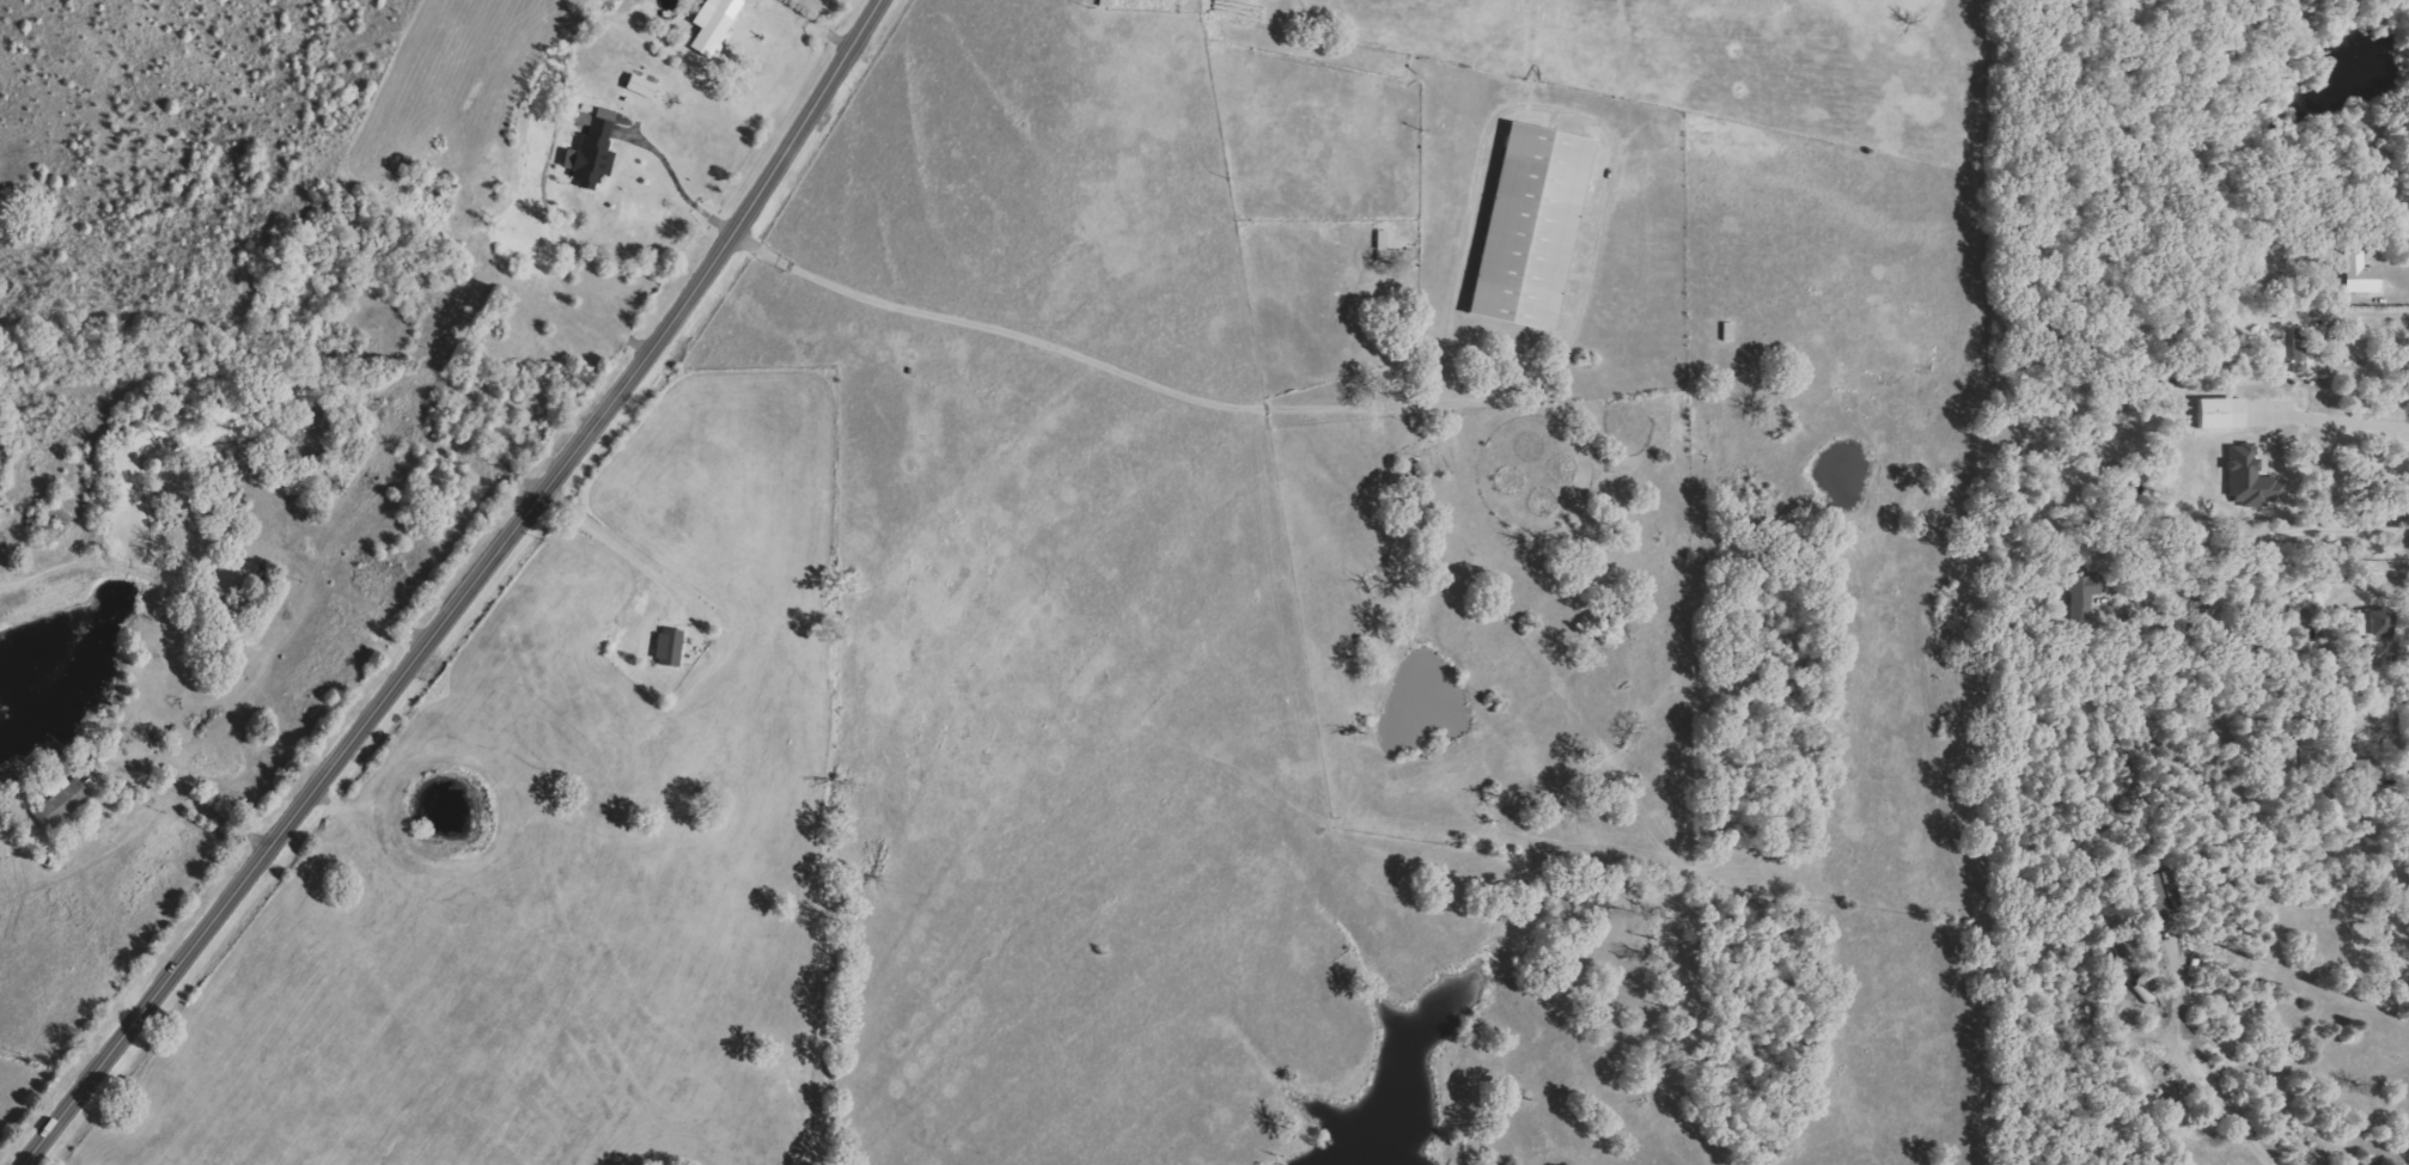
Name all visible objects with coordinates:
building: (713, 26)
building: (592, 147)
road: (676, 181)
building: (1530, 226)
building: (2361, 274)
road: (2354, 311)
road: (1463, 399)
building: (2220, 413)
road: (2331, 419)
building: (2251, 478)
road: (2325, 529)
road: (624, 549)
road: (470, 594)
building: (2085, 594)
building: (2378, 622)
building: (669, 646)
road: (2404, 730)
building: (71, 789)
road: (194, 800)
building: (2149, 892)
road: (2216, 1082)

